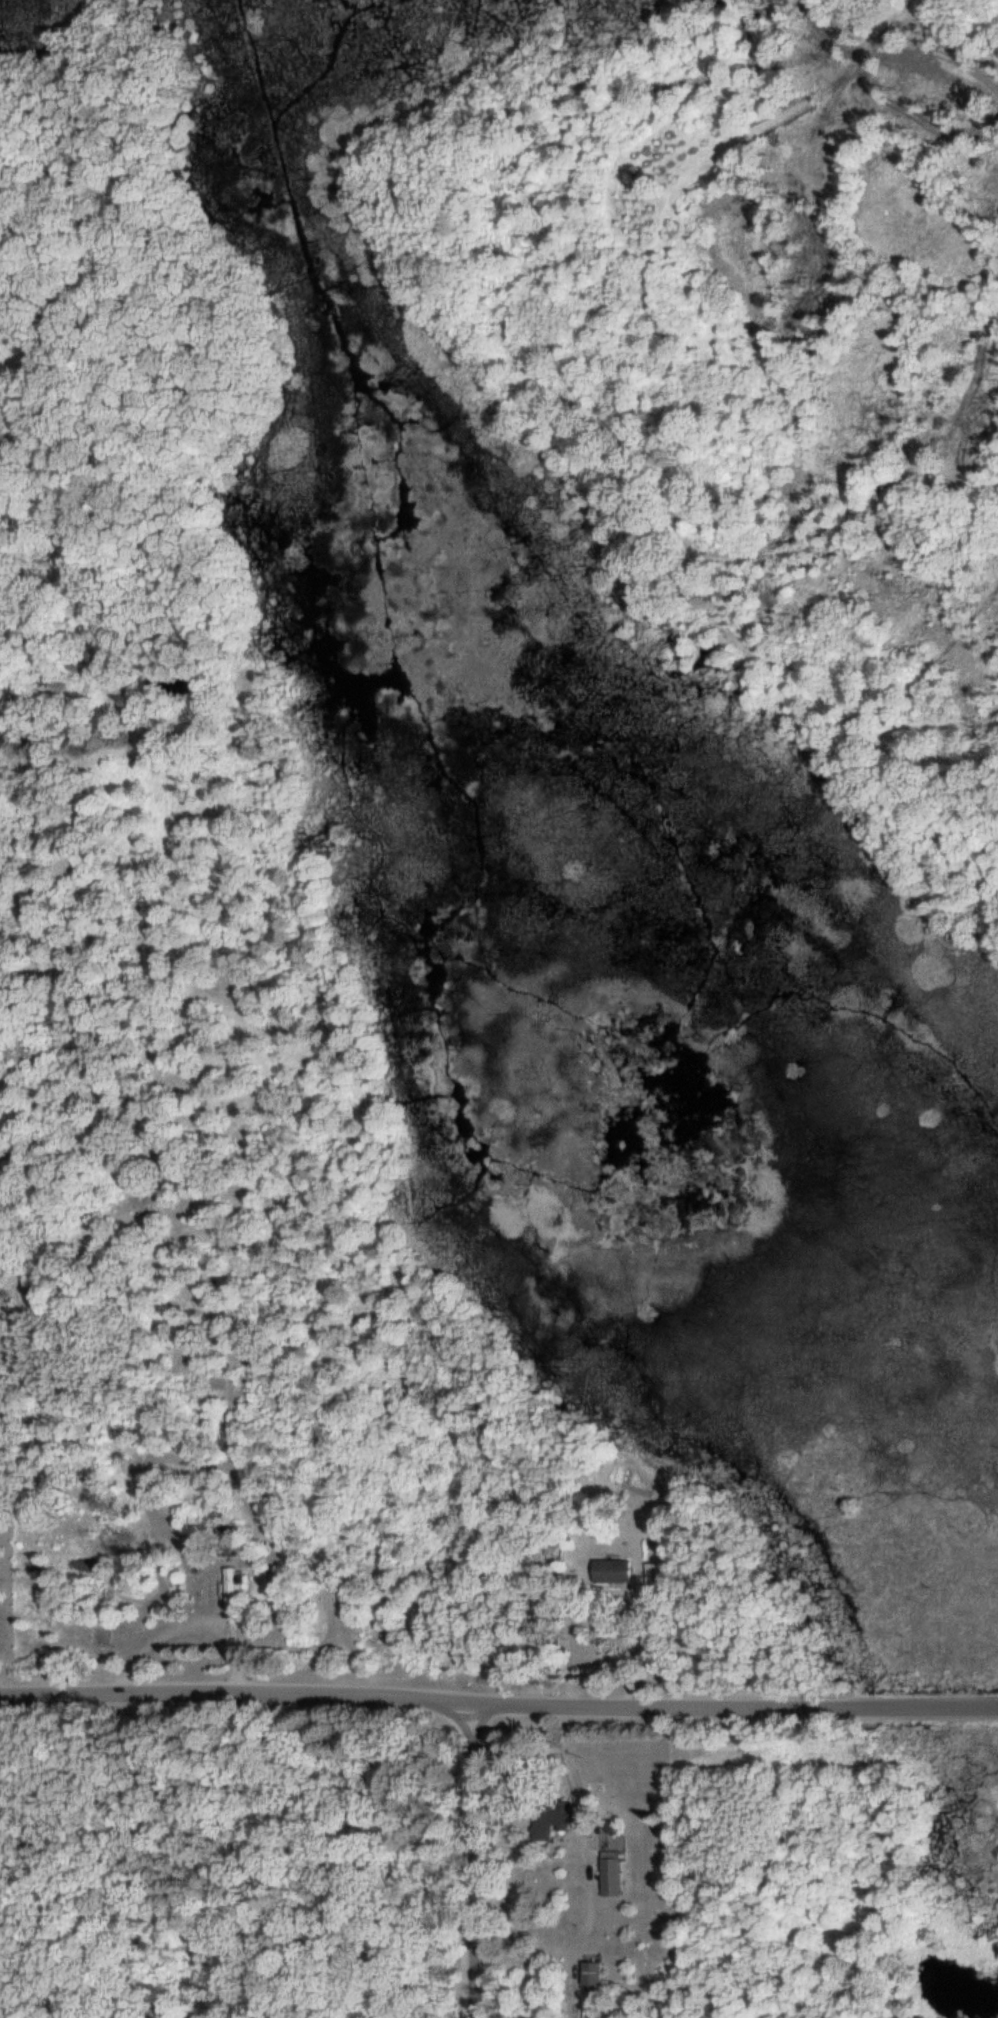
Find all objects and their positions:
road: (956, 45)
road: (892, 485)
building: (133, 1201)
building: (231, 1540)
building: (614, 1571)
building: (654, 1574)
building: (234, 1585)
road: (622, 1642)
road: (498, 1705)
building: (547, 1817)
road: (477, 1861)
building: (607, 1873)
road: (592, 1875)
building: (587, 1972)

